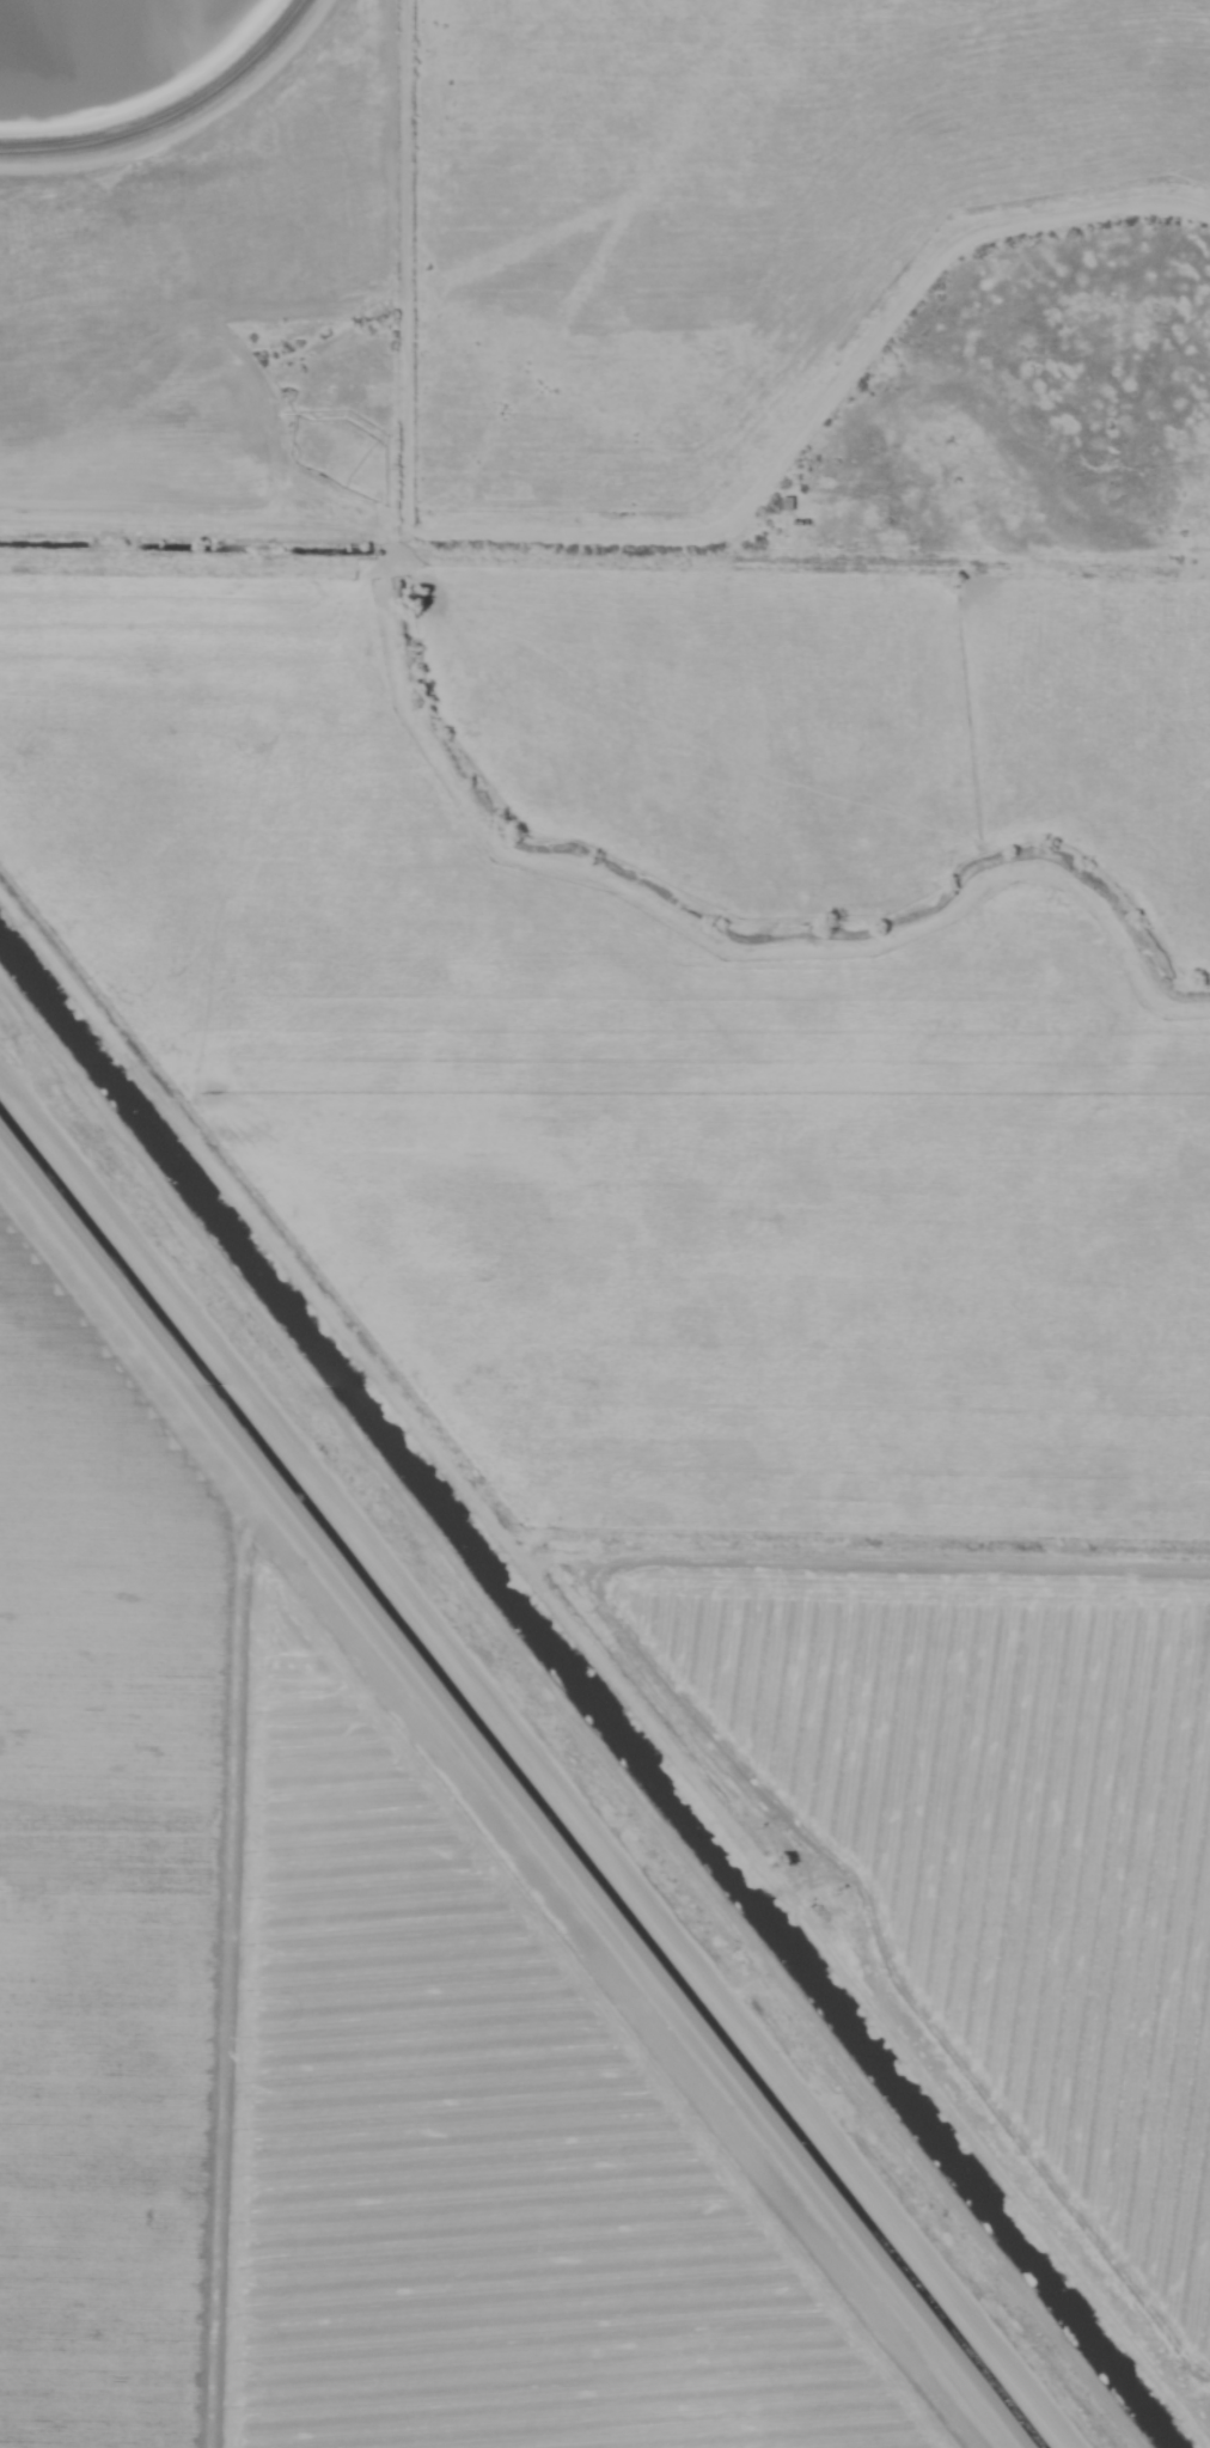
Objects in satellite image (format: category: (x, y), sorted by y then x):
crop: (593, 1274)
road: (531, 1766)
road: (1070, 1941)

